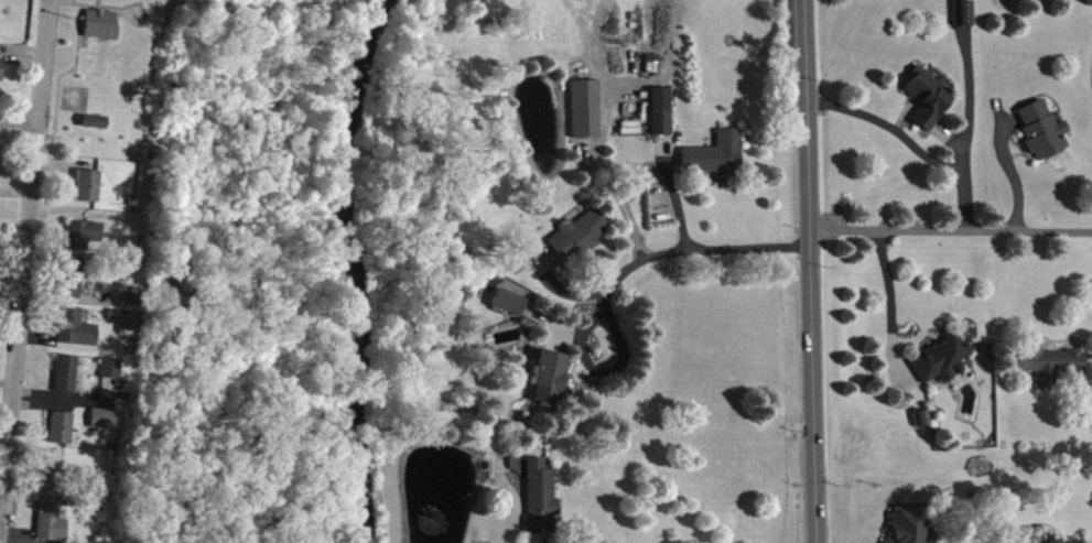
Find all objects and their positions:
building: (965, 22)
building: (101, 34)
building: (655, 73)
building: (1, 78)
building: (928, 107)
building: (587, 118)
road: (17, 120)
building: (663, 120)
building: (94, 131)
building: (1041, 139)
road: (912, 153)
building: (718, 165)
building: (87, 195)
road: (950, 239)
building: (83, 243)
building: (581, 245)
road: (24, 258)
road: (679, 262)
road: (809, 271)
building: (71, 286)
building: (510, 312)
building: (126, 330)
building: (75, 338)
building: (941, 369)
building: (1053, 373)
building: (109, 378)
building: (66, 383)
building: (551, 385)
building: (102, 428)
building: (62, 437)
building: (52, 485)
building: (541, 507)
building: (51, 528)
building: (910, 529)

